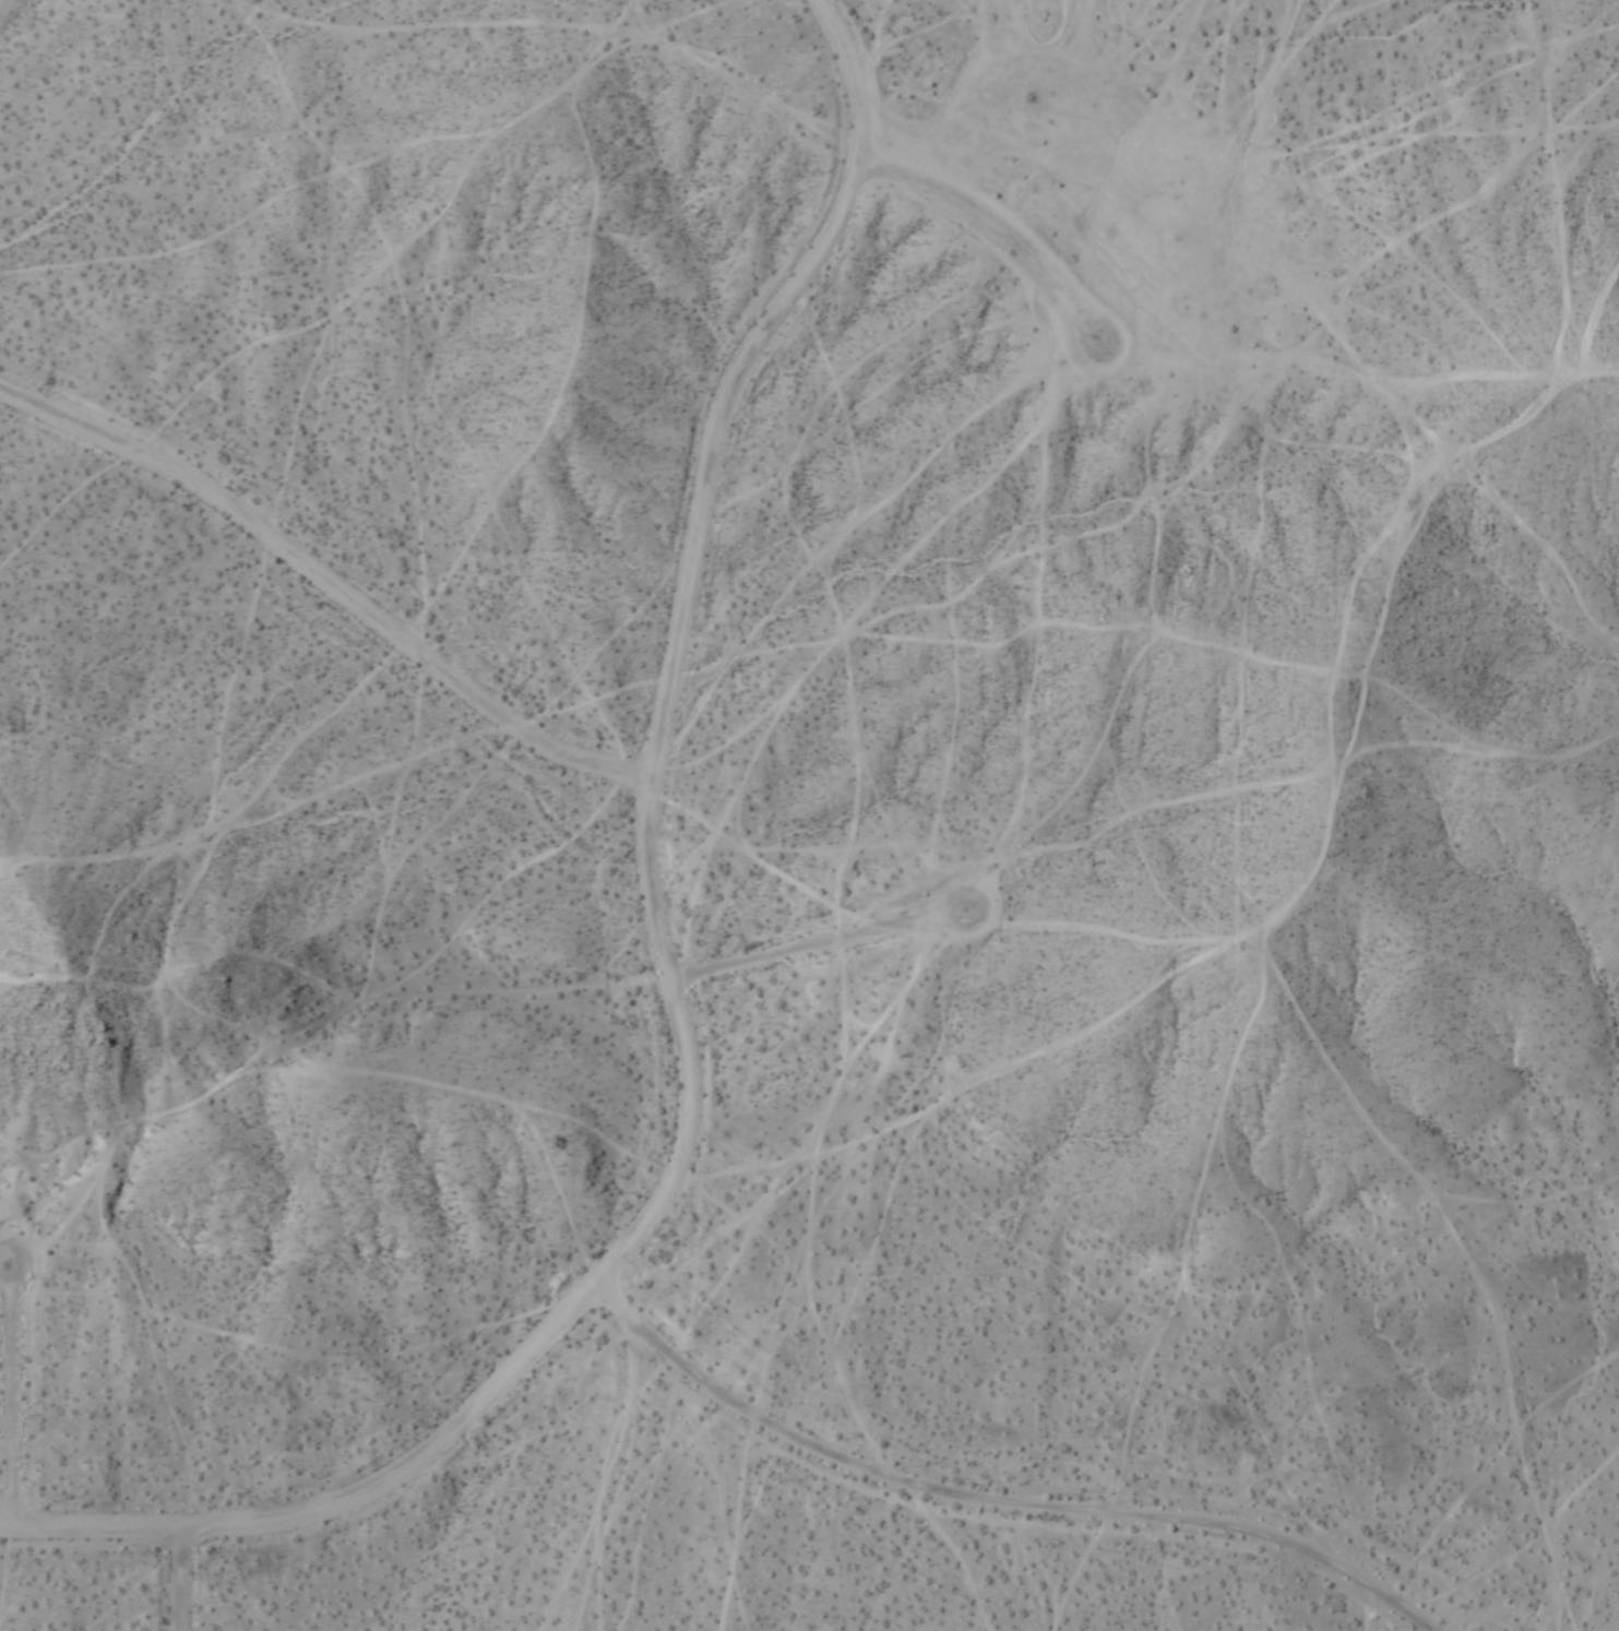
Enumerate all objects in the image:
road: (1000, 236)
road: (330, 587)
road: (818, 947)
road: (668, 968)
road: (11, 1393)
road: (993, 1503)
road: (183, 1580)

